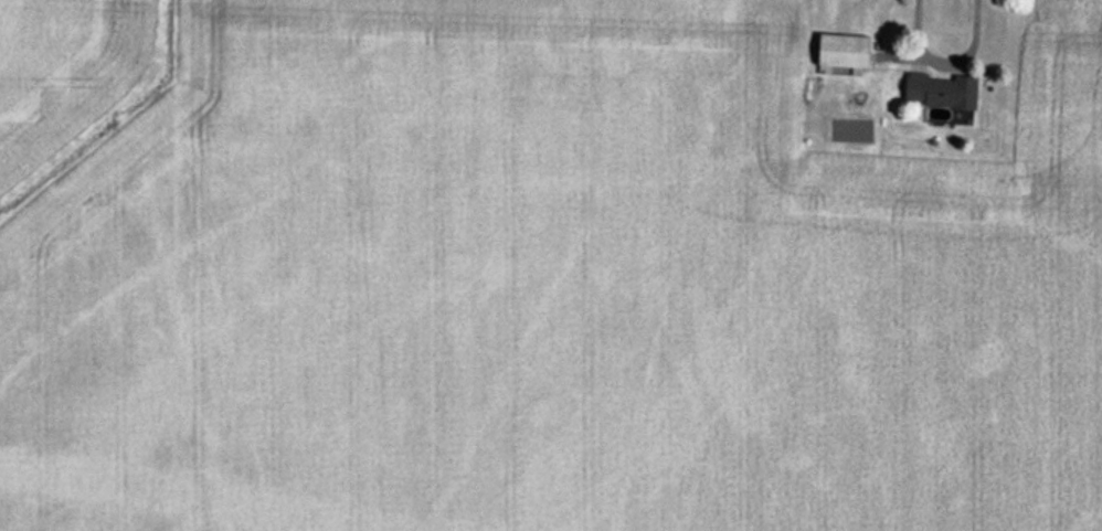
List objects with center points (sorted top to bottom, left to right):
building: (846, 51)
building: (942, 89)

